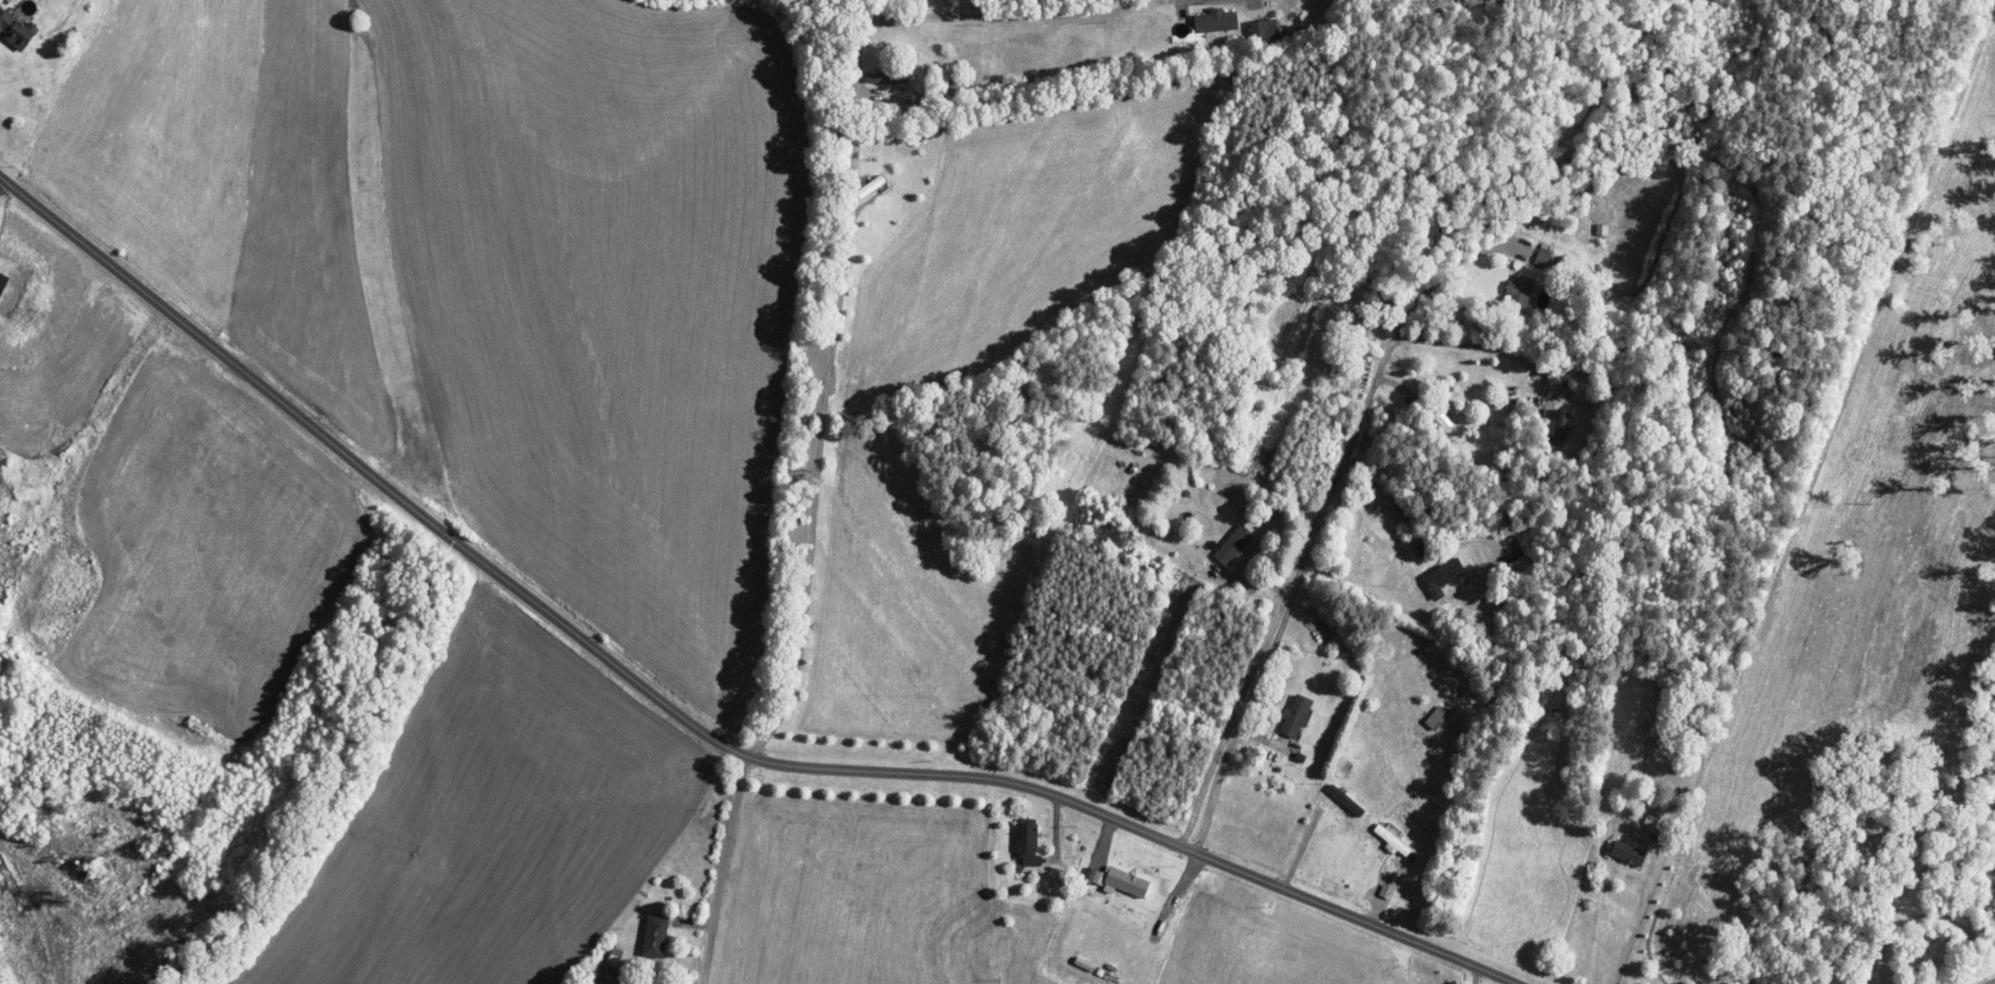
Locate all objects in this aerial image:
road: (1172, 1)
road: (1002, 21)
building: (1217, 22)
building: (15, 30)
building: (1265, 31)
building: (1018, 51)
building: (887, 79)
building: (871, 187)
road: (1449, 267)
building: (1522, 292)
building: (1366, 332)
road: (1473, 345)
building: (1562, 427)
building: (1448, 430)
road: (816, 463)
road: (1390, 494)
building: (1235, 545)
building: (1443, 574)
road: (1291, 586)
building: (1298, 715)
building: (1436, 719)
road: (685, 724)
building: (1659, 727)
building: (1346, 800)
building: (1392, 841)
building: (1028, 845)
building: (1628, 853)
road: (721, 870)
building: (1128, 881)
building: (1165, 896)
road: (1643, 908)
building: (656, 935)

